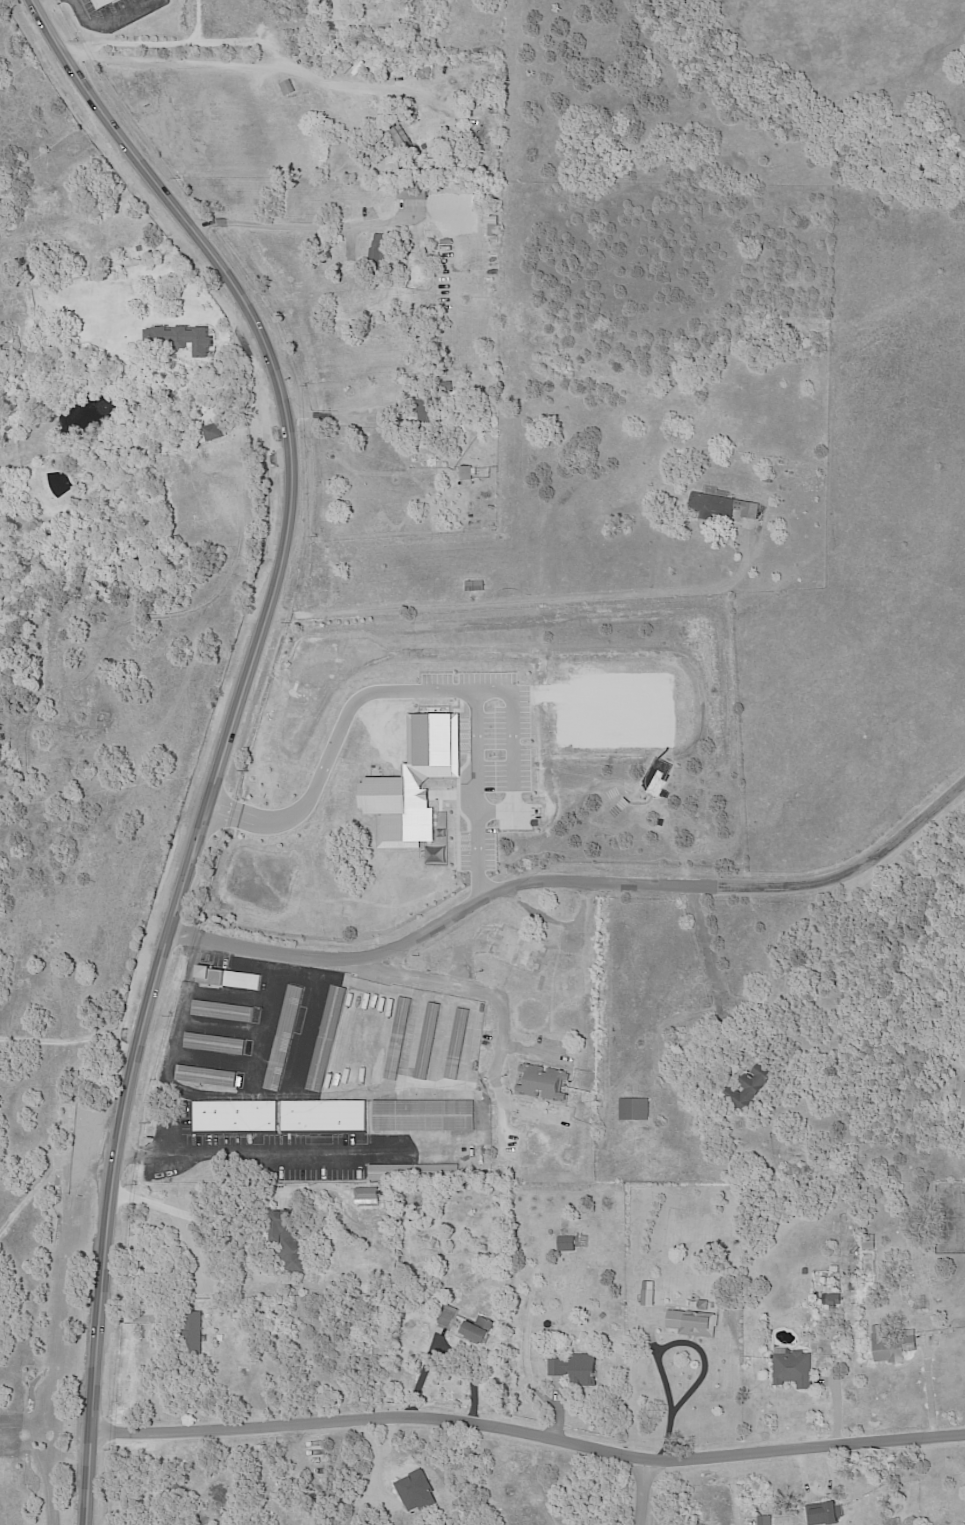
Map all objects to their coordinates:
building: (107, 3)
building: (347, 10)
building: (286, 28)
road: (243, 64)
building: (290, 88)
building: (484, 105)
building: (400, 133)
building: (502, 147)
building: (458, 163)
building: (414, 192)
building: (496, 226)
road: (265, 227)
building: (142, 249)
building: (385, 250)
building: (182, 339)
building: (12, 342)
building: (444, 387)
road: (341, 410)
building: (430, 413)
building: (218, 432)
building: (466, 472)
building: (768, 478)
building: (722, 506)
building: (474, 585)
road: (530, 598)
road: (448, 689)
road: (232, 730)
road: (483, 750)
road: (575, 878)
road: (712, 958)
building: (228, 979)
road: (473, 984)
building: (224, 1011)
building: (286, 1037)
building: (400, 1037)
building: (328, 1038)
road: (70, 1040)
building: (429, 1040)
building: (459, 1043)
building: (216, 1044)
building: (207, 1076)
building: (546, 1081)
building: (749, 1088)
building: (963, 1097)
building: (633, 1110)
building: (239, 1115)
building: (328, 1115)
building: (425, 1115)
road: (295, 1153)
building: (414, 1171)
road: (186, 1213)
building: (292, 1238)
building: (868, 1243)
building: (569, 1245)
building: (834, 1270)
building: (805, 1272)
building: (853, 1287)
building: (647, 1295)
building: (831, 1300)
building: (703, 1306)
building: (449, 1315)
building: (692, 1324)
building: (480, 1328)
building: (195, 1333)
road: (663, 1345)
building: (892, 1345)
building: (578, 1369)
building: (792, 1370)
road: (931, 1386)
road: (530, 1430)
road: (638, 1490)
building: (824, 1513)
building: (764, 1520)

